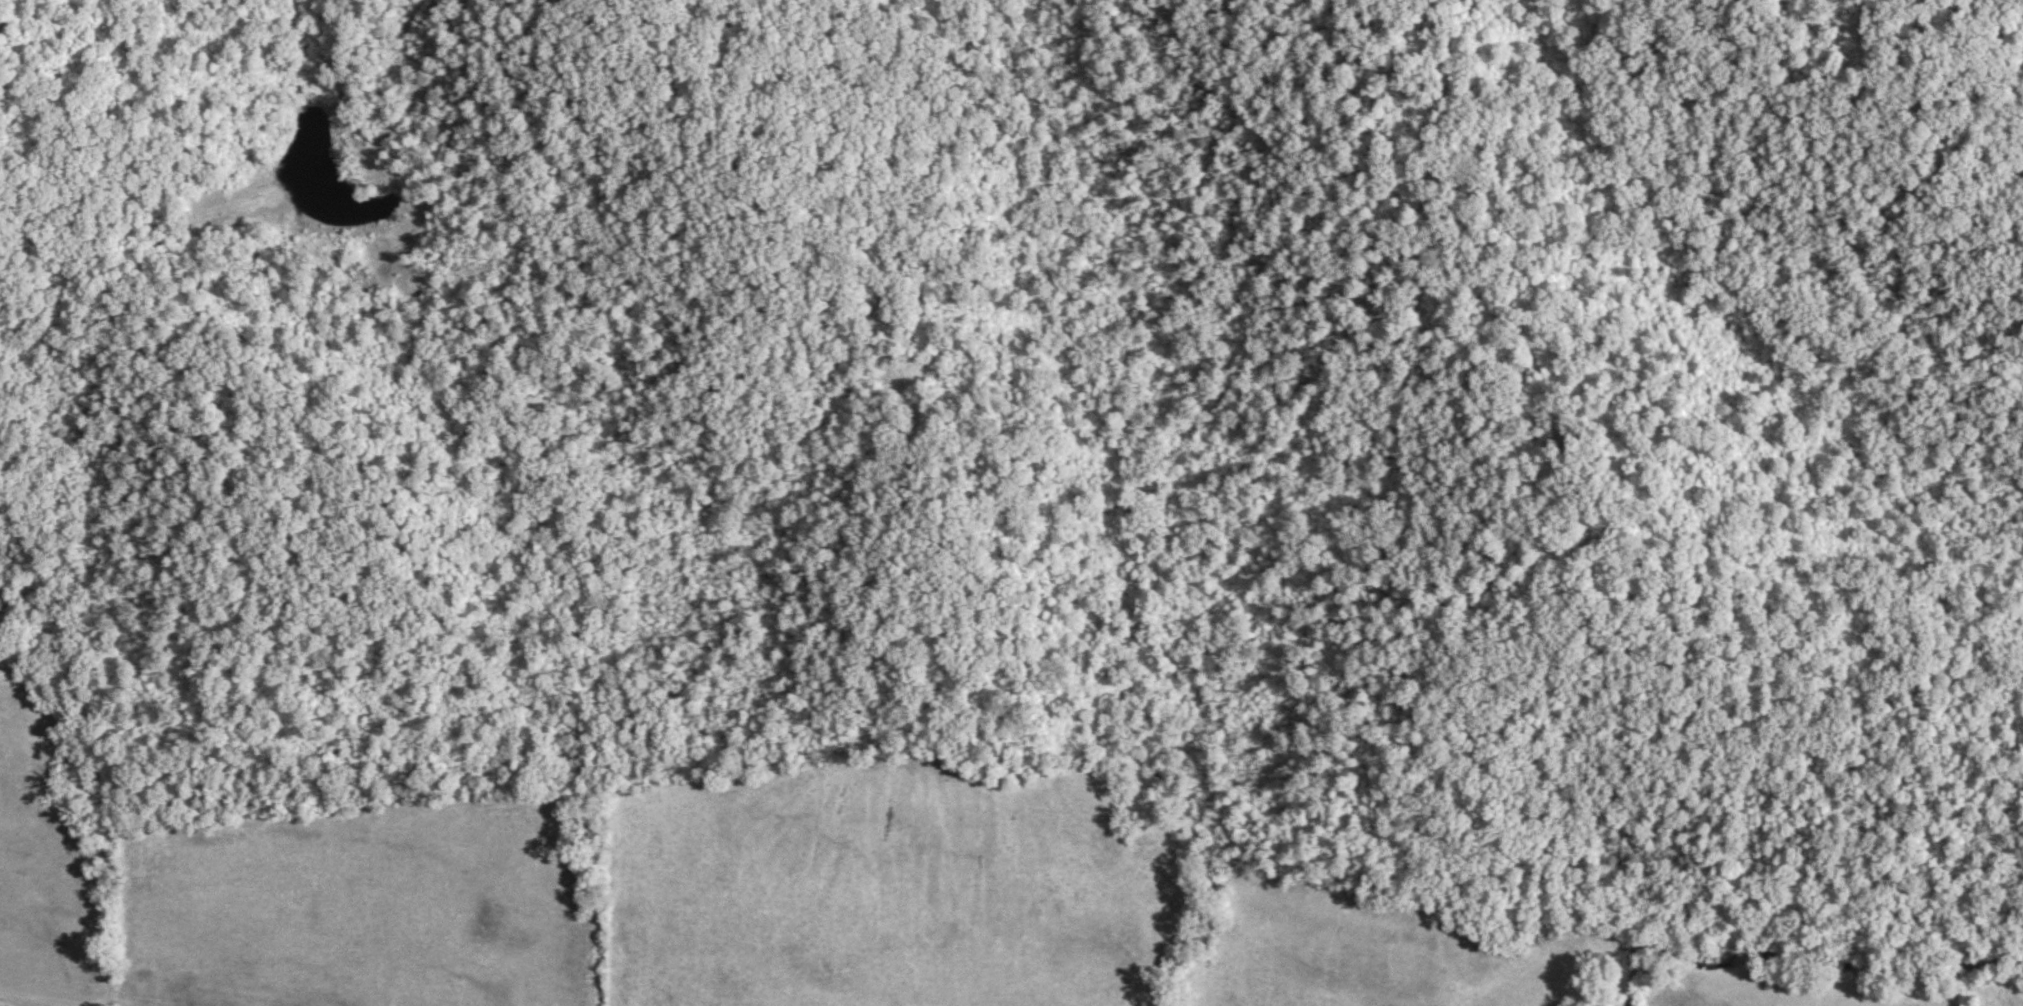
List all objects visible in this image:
road: (1, 1005)

